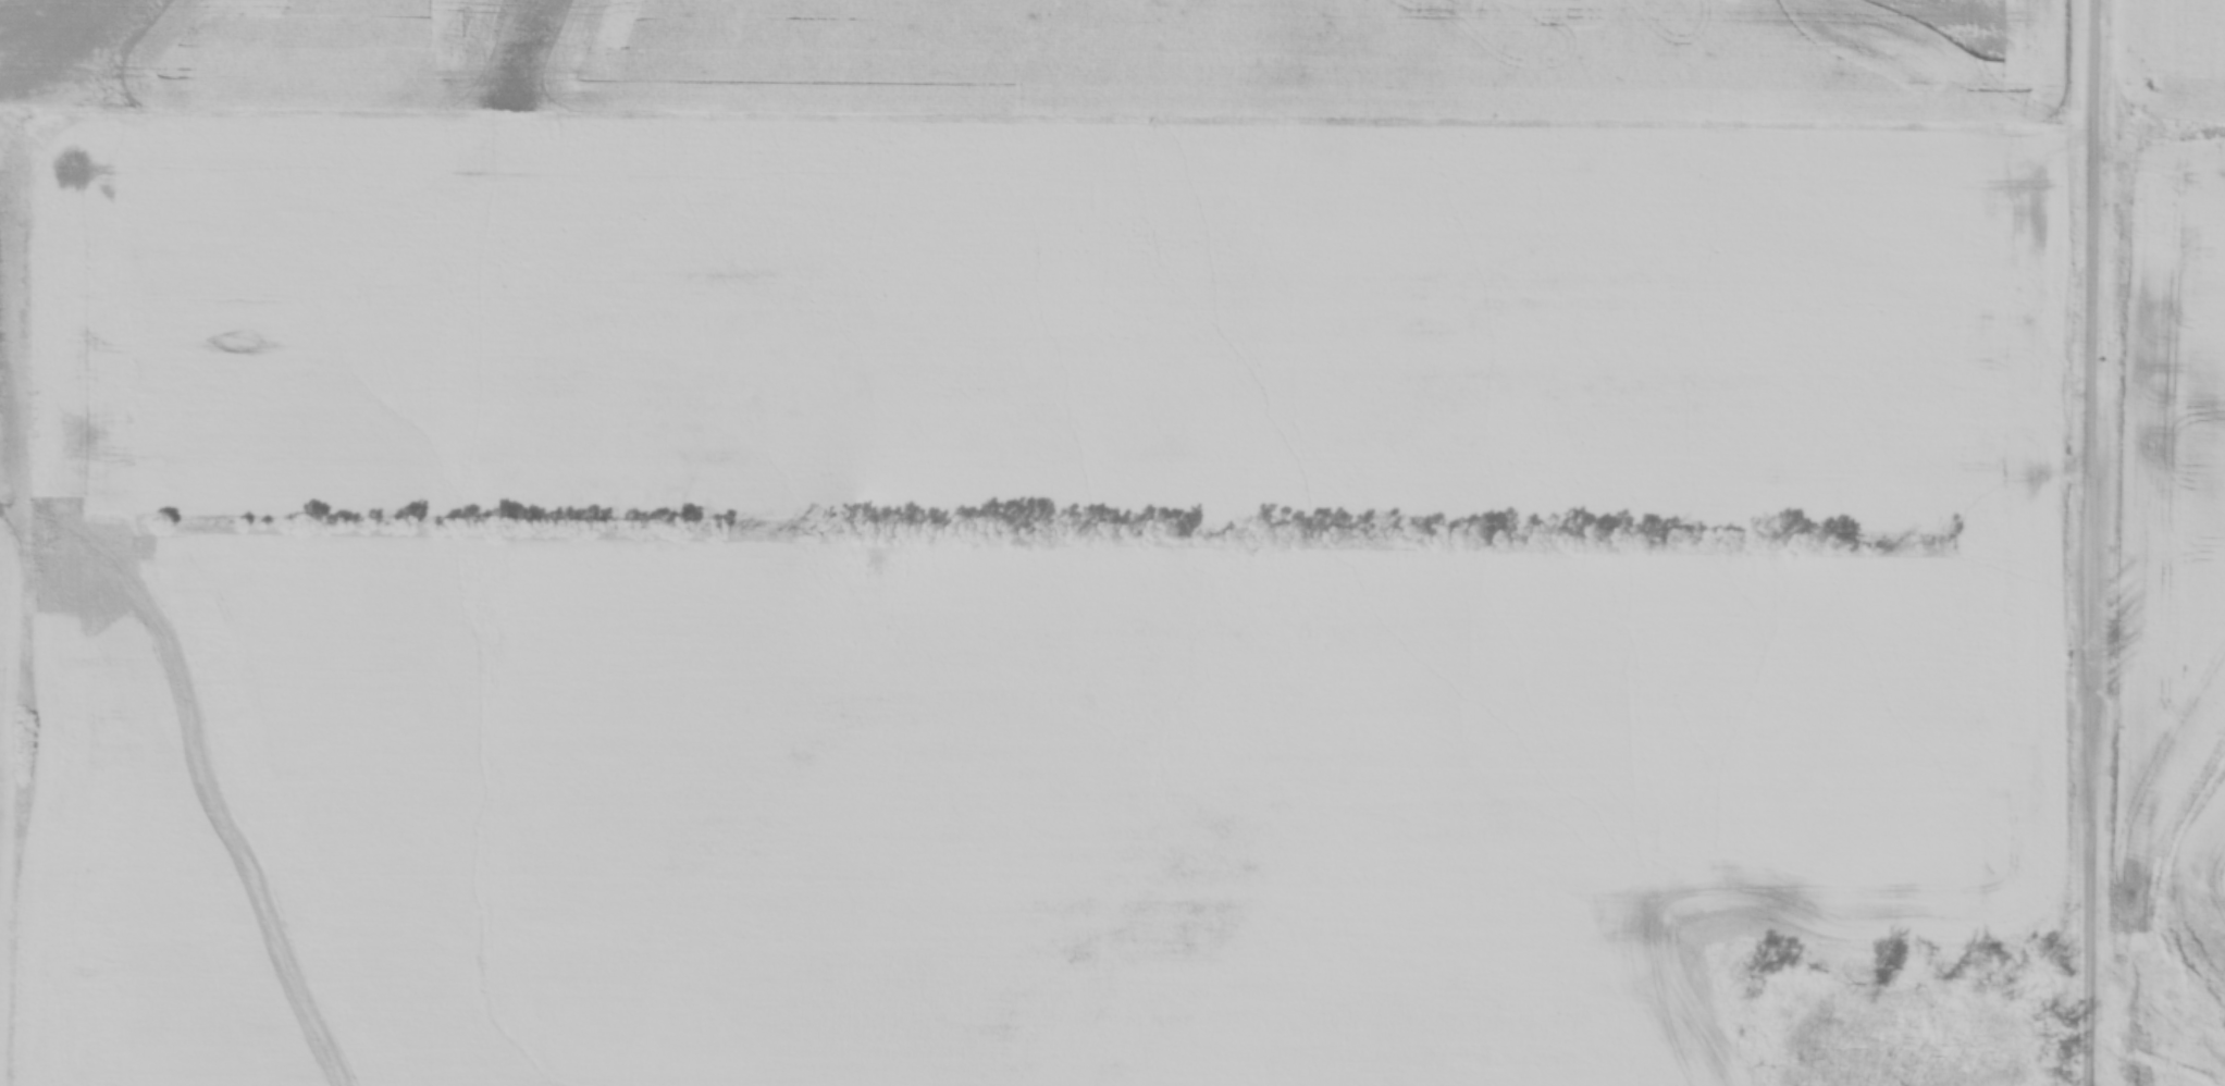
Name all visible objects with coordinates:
road: (2088, 542)

